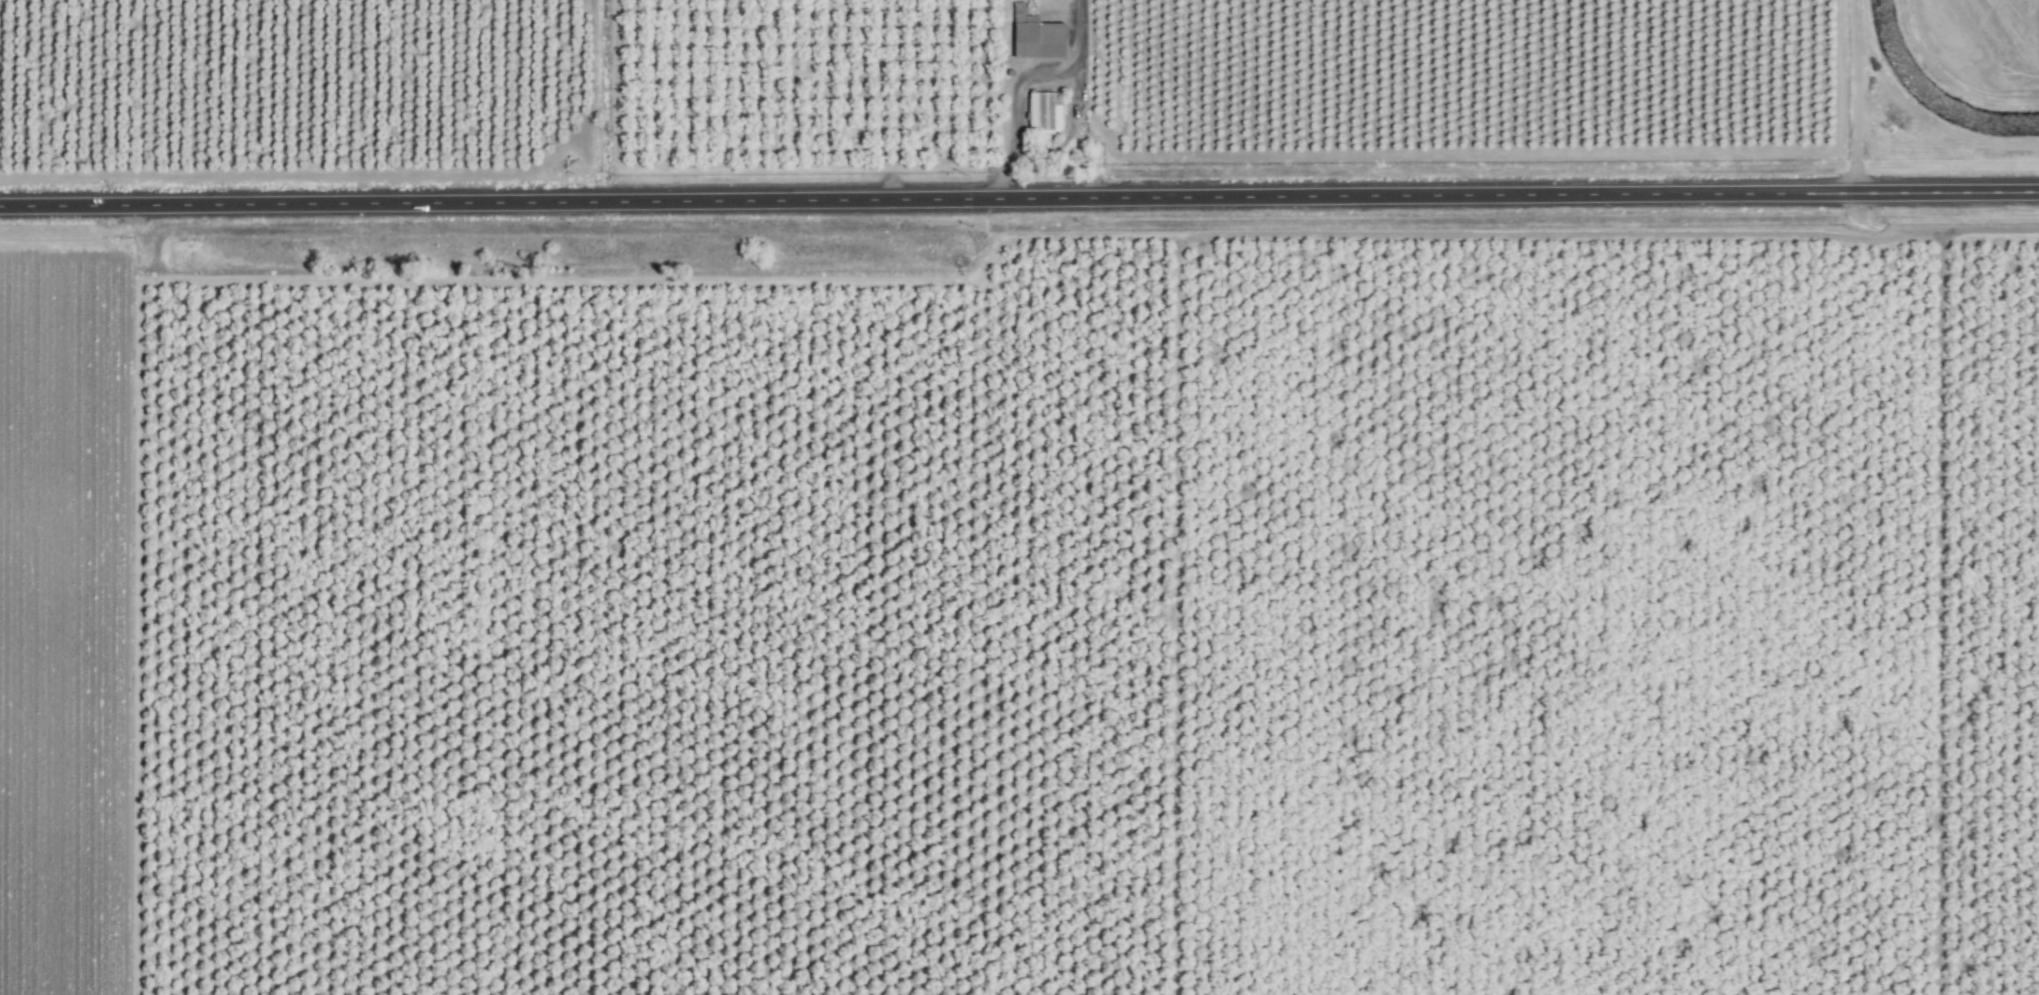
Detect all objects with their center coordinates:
building: (1034, 37)
road: (1022, 85)
building: (1042, 113)
road: (1068, 131)
road: (1019, 198)

